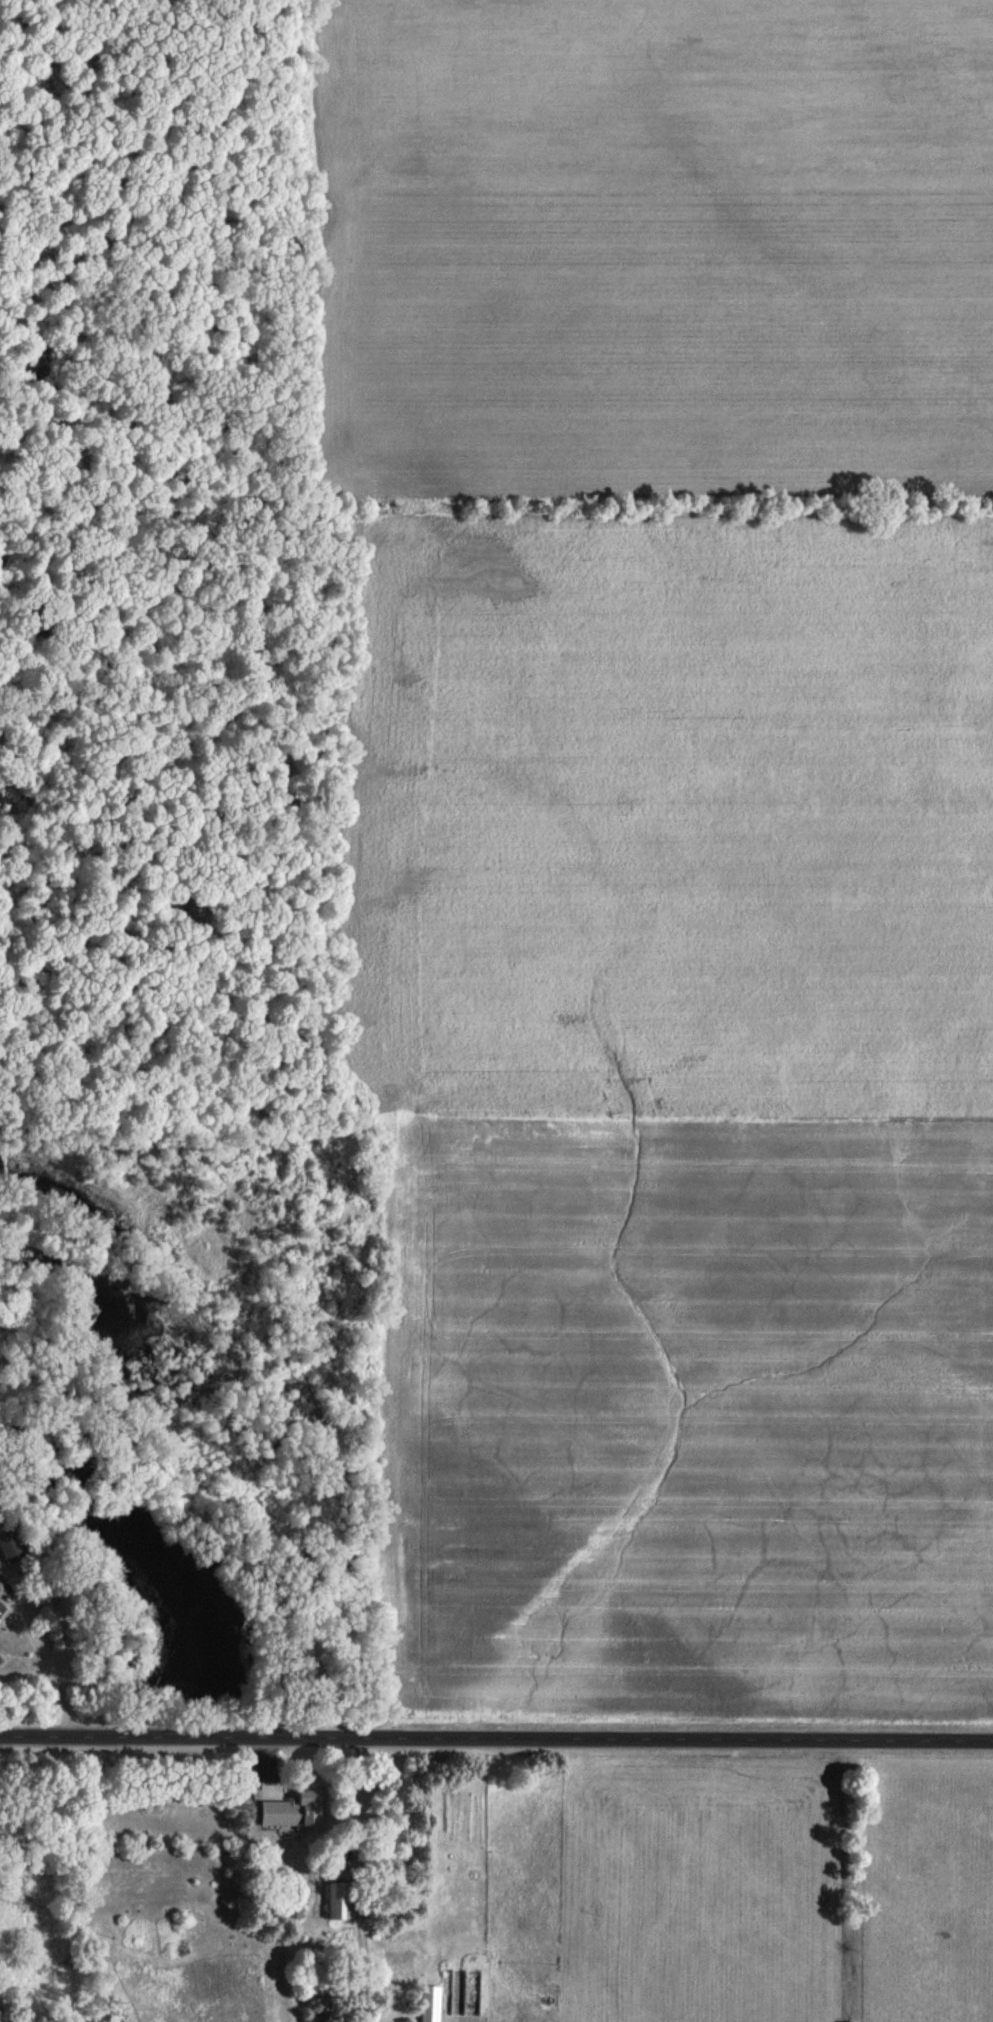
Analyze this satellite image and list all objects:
building: (15, 1548)
building: (3, 1610)
road: (44, 1670)
road: (496, 1735)
building: (298, 1808)
building: (341, 1899)
building: (433, 2003)

